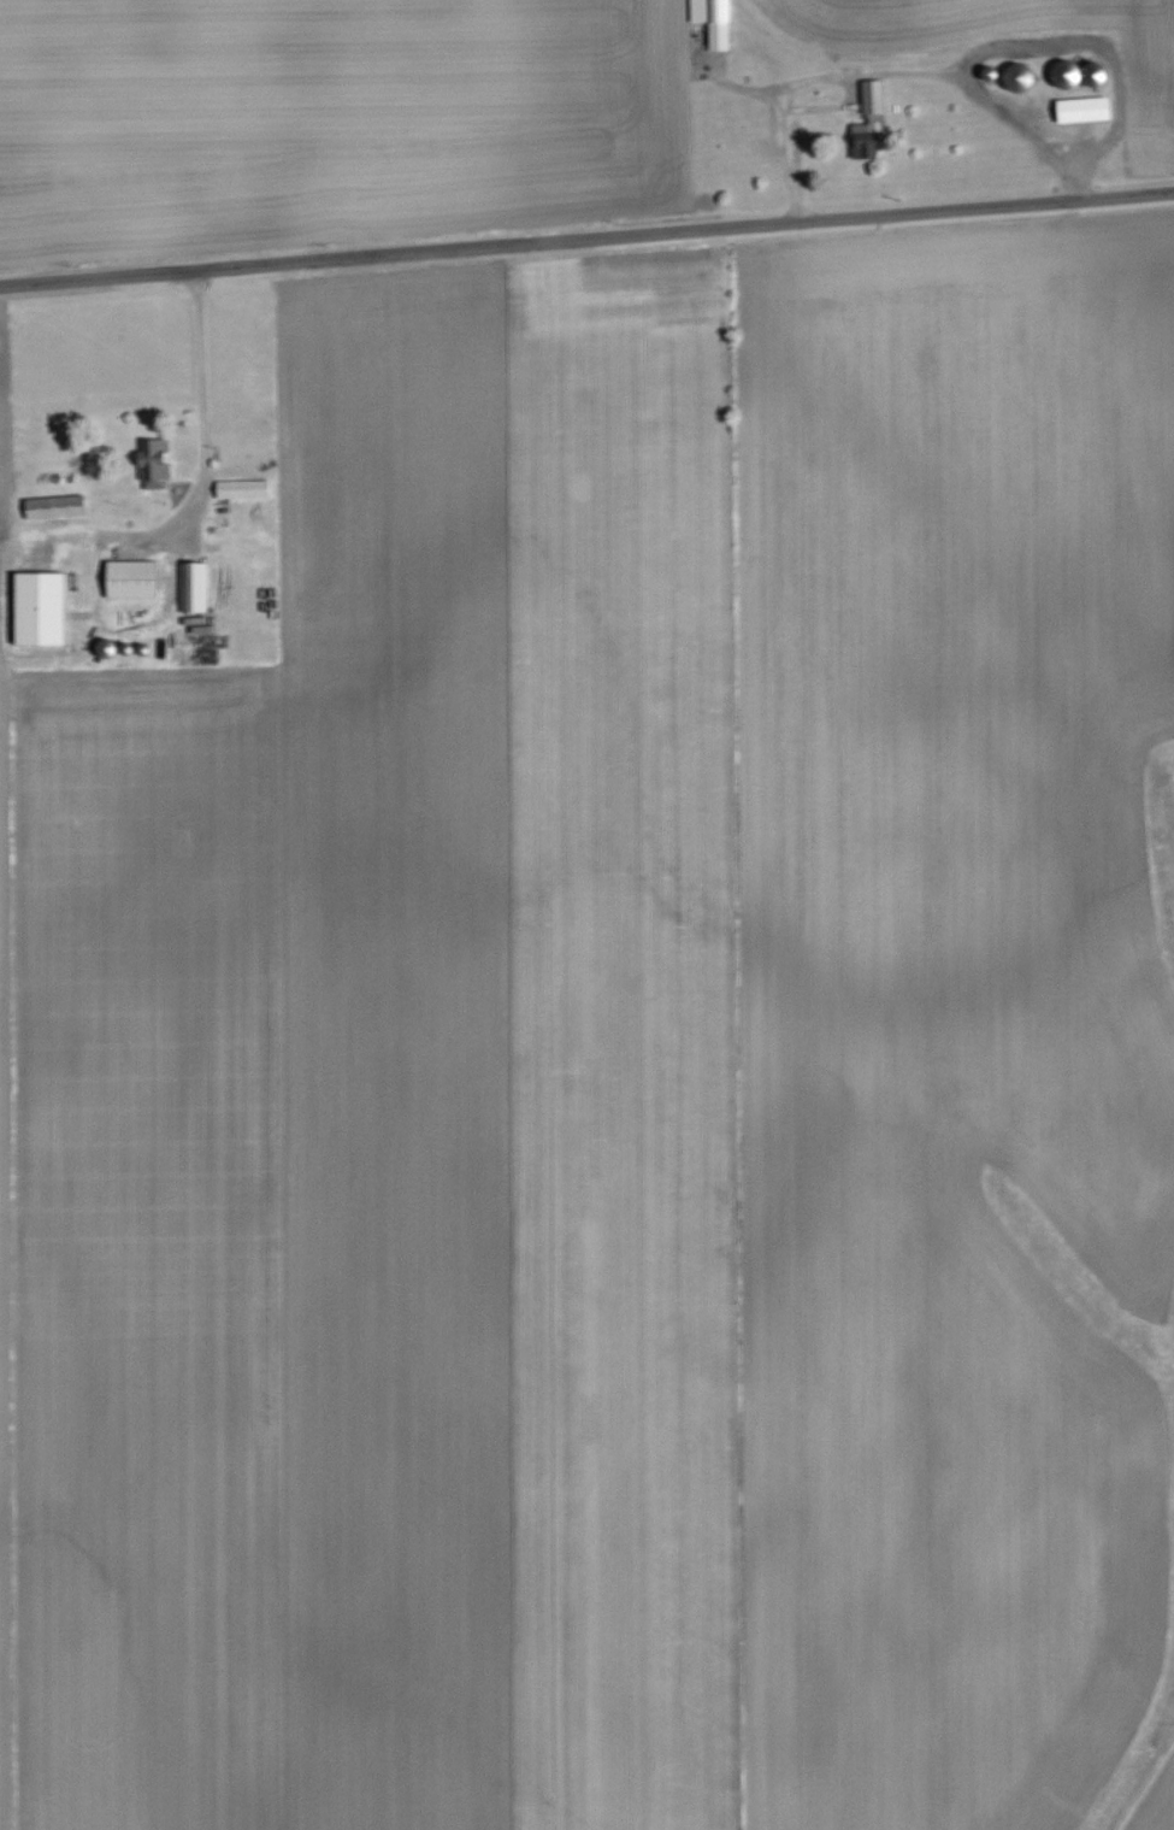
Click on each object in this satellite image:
building: (713, 20)
building: (872, 100)
building: (1082, 110)
road: (586, 239)
road: (203, 422)
building: (153, 463)
building: (242, 490)
building: (53, 507)
building: (130, 579)
building: (193, 588)
building: (39, 610)

